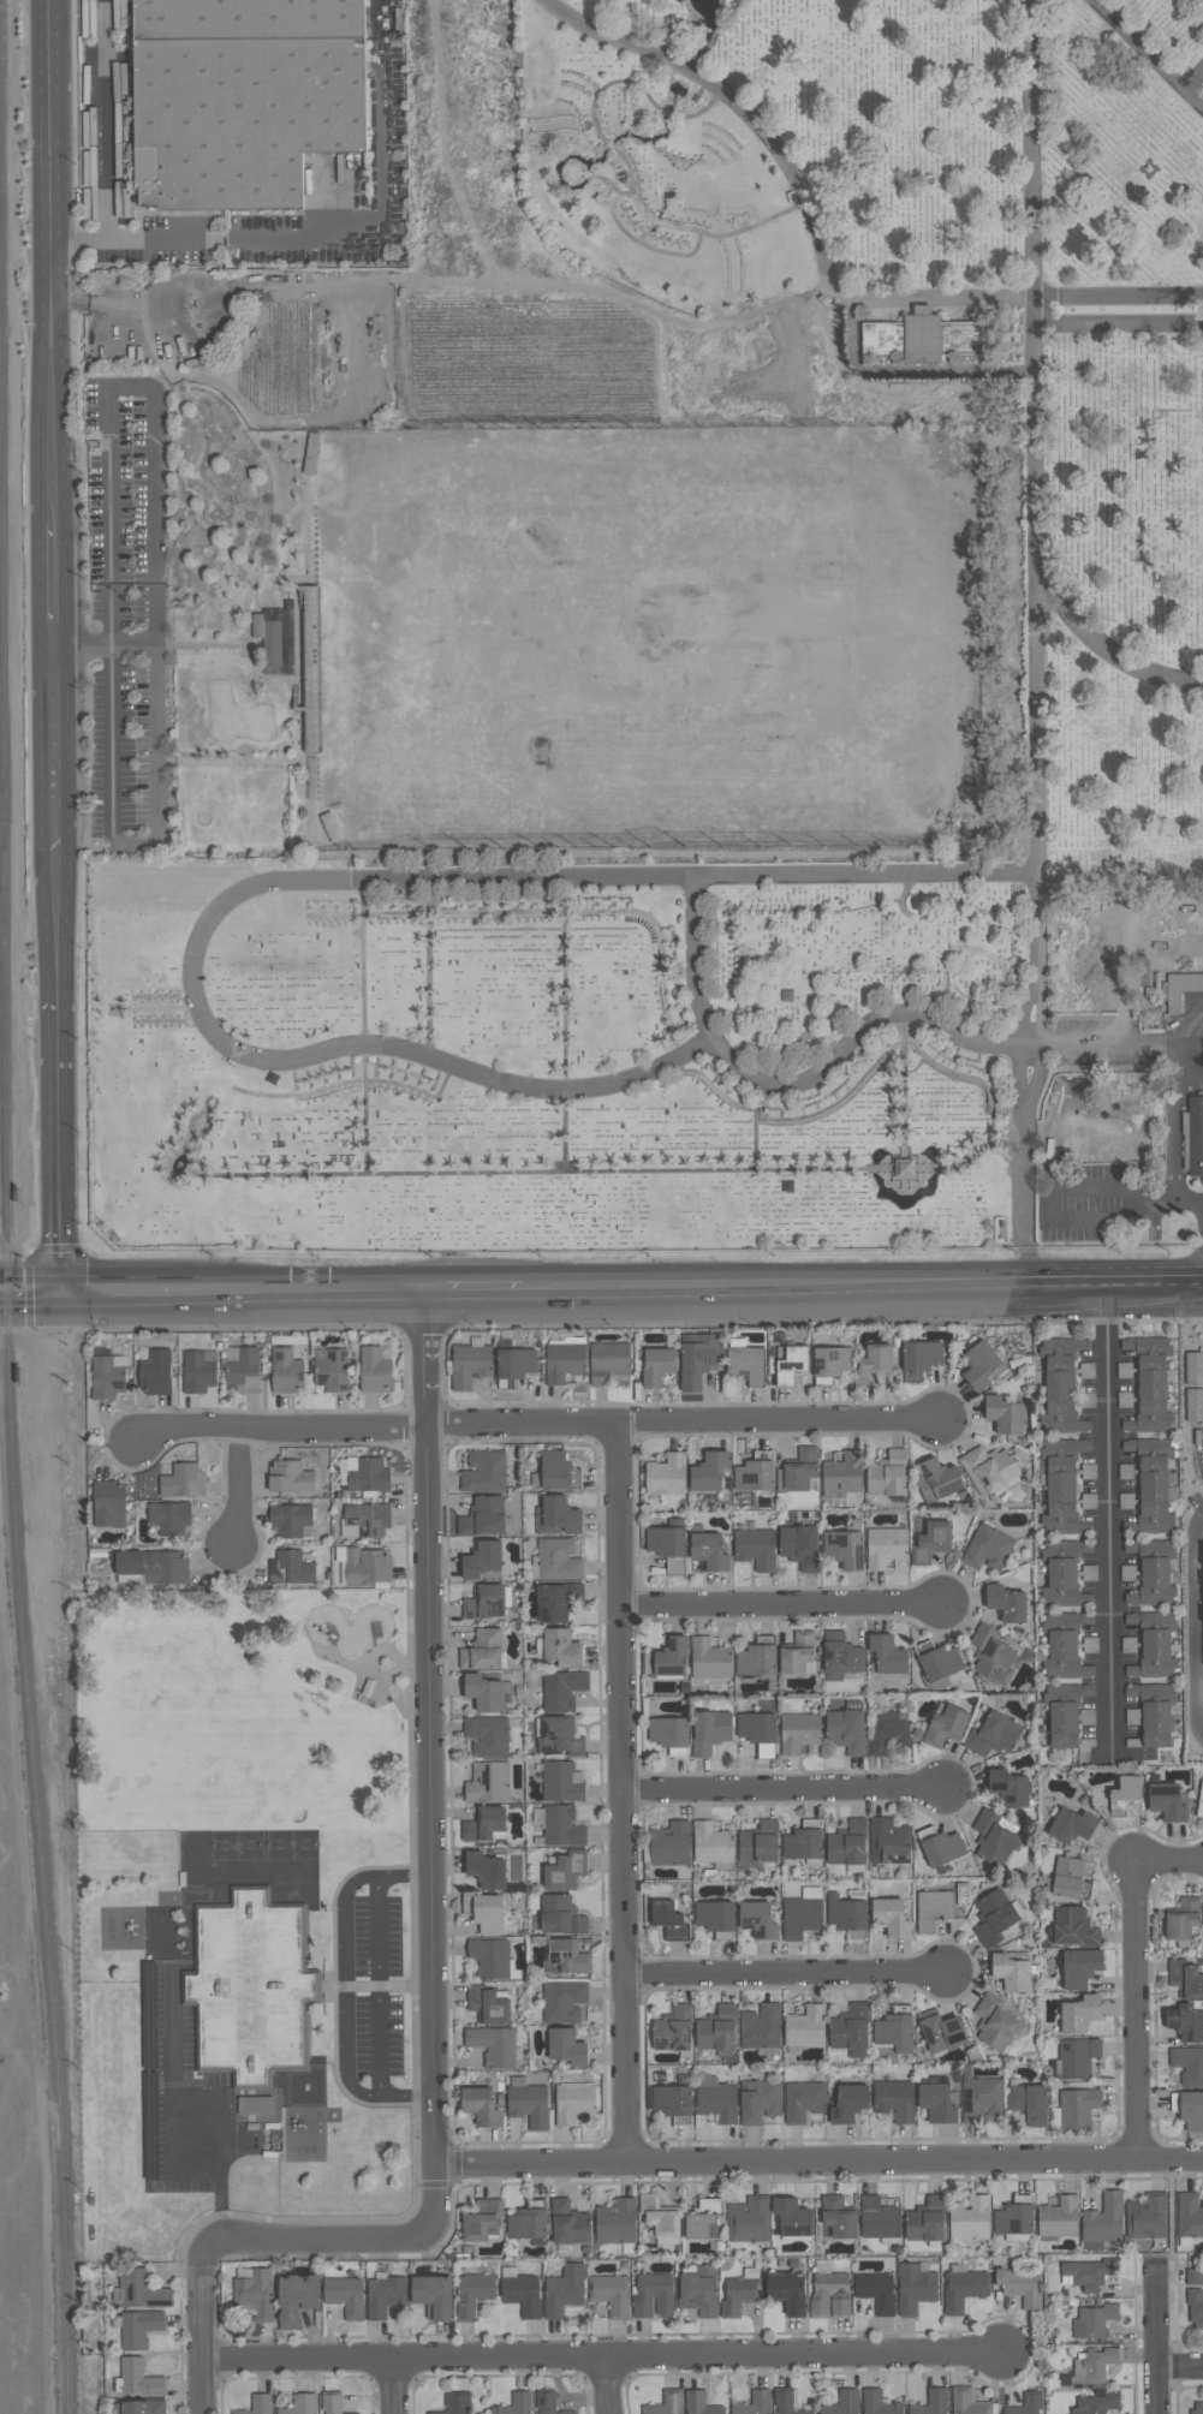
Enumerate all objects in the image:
road: (1145, 54)
road: (1193, 81)
building: (243, 99)
road: (737, 106)
road: (107, 144)
road: (1030, 148)
road: (238, 238)
road: (1118, 296)
road: (936, 297)
road: (1032, 311)
road: (1118, 326)
building: (921, 338)
building: (311, 454)
road: (155, 572)
road: (111, 573)
road: (18, 626)
railway: (1, 630)
building: (275, 634)
park: (1109, 640)
road: (52, 644)
road: (1103, 650)
road: (1036, 654)
road: (157, 726)
road: (113, 737)
railway: (2, 799)
road: (290, 881)
building: (1180, 989)
road: (1185, 1021)
road: (1187, 1045)
road: (1031, 1047)
road: (1107, 1047)
road: (1020, 1057)
road: (1040, 1059)
road: (792, 1085)
road: (1173, 1134)
building: (1193, 1137)
building: (904, 1168)
road: (1025, 1188)
road: (1025, 1262)
road: (31, 1276)
road: (862, 1285)
road: (474, 1288)
road: (243, 1289)
road: (31, 1304)
building: (921, 1357)
building: (565, 1360)
building: (698, 1360)
building: (608, 1363)
building: (833, 1363)
building: (470, 1364)
building: (516, 1364)
building: (746, 1364)
building: (790, 1364)
building: (874, 1365)
building: (655, 1366)
building: (982, 1366)
building: (243, 1369)
building: (375, 1369)
building: (1124, 1370)
building: (198, 1371)
building: (333, 1371)
building: (286, 1372)
building: (156, 1373)
building: (107, 1376)
building: (1149, 1385)
building: (1060, 1388)
building: (1124, 1400)
building: (1004, 1415)
road: (536, 1421)
building: (802, 1470)
building: (988, 1470)
building: (484, 1472)
building: (708, 1472)
building: (555, 1473)
building: (755, 1473)
building: (842, 1473)
building: (363, 1474)
building: (887, 1474)
building: (666, 1476)
building: (290, 1477)
building: (937, 1480)
building: (183, 1482)
building: (1151, 1485)
building: (1060, 1486)
road: (238, 1488)
building: (108, 1504)
road: (1107, 1514)
building: (169, 1518)
building: (483, 1518)
building: (556, 1518)
building: (291, 1521)
building: (666, 1542)
building: (931, 1543)
building: (799, 1546)
building: (885, 1548)
building: (987, 1548)
building: (756, 1549)
building: (845, 1549)
building: (709, 1551)
building: (555, 1560)
building: (483, 1561)
building: (153, 1566)
building: (294, 1567)
building: (367, 1567)
building: (1064, 1573)
building: (1127, 1573)
building: (1153, 1573)
building: (1089, 1575)
building: (556, 1601)
building: (484, 1602)
road: (785, 1603)
building: (1006, 1604)
railway: (24, 1620)
road: (1192, 1622)
building: (487, 1638)
building: (1090, 1645)
building: (1128, 1645)
building: (1153, 1645)
building: (1065, 1646)
building: (561, 1647)
building: (797, 1653)
building: (990, 1655)
building: (841, 1656)
building: (887, 1656)
building: (478, 1658)
building: (671, 1658)
building: (709, 1659)
building: (757, 1659)
building: (562, 1689)
building: (1131, 1691)
building: (486, 1693)
park: (246, 1713)
building: (1066, 1713)
building: (1156, 1715)
building: (945, 1727)
building: (756, 1728)
building: (886, 1730)
building: (710, 1731)
building: (846, 1731)
building: (798, 1733)
building: (669, 1735)
building: (994, 1735)
building: (487, 1736)
building: (558, 1736)
road: (427, 1760)
building: (561, 1782)
building: (488, 1783)
building: (1008, 1788)
road: (782, 1789)
road: (623, 1793)
building: (1126, 1798)
building: (1199, 1800)
building: (1166, 1801)
building: (484, 1825)
building: (1071, 1826)
building: (560, 1828)
building: (993, 1838)
building: (758, 1843)
building: (802, 1843)
building: (888, 1843)
building: (710, 1844)
building: (846, 1844)
building: (668, 1846)
building: (939, 1847)
road: (1168, 1861)
building: (484, 1871)
building: (564, 1871)
road: (401, 1878)
building: (1067, 1880)
building: (961, 1895)
building: (931, 1909)
building: (487, 1915)
building: (559, 1917)
building: (846, 1917)
building: (799, 1918)
building: (889, 1918)
building: (993, 1918)
building: (714, 1919)
building: (1183, 1920)
building: (757, 1921)
building: (668, 1923)
building: (1073, 1927)
building: (566, 1957)
building: (489, 1959)
building: (1079, 1968)
building: (1011, 1972)
road: (782, 1973)
road: (347, 1975)
building: (1185, 1979)
road: (377, 1987)
building: (249, 1989)
building: (561, 2002)
building: (486, 2005)
road: (1134, 2010)
building: (1078, 2015)
building: (994, 2023)
building: (1185, 2023)
building: (760, 2028)
building: (804, 2028)
building: (672, 2031)
building: (894, 2031)
building: (716, 2032)
building: (850, 2032)
building: (941, 2034)
building: (493, 2046)
building: (565, 2048)
building: (1077, 2057)
building: (1187, 2066)
road: (367, 2094)
road: (405, 2097)
building: (977, 2097)
building: (893, 2100)
road: (201, 2102)
building: (758, 2102)
building: (802, 2102)
building: (573, 2103)
building: (717, 2103)
building: (526, 2104)
building: (671, 2104)
building: (847, 2104)
building: (936, 2104)
building: (1028, 2104)
building: (255, 2106)
building: (480, 2109)
building: (1076, 2109)
building: (1189, 2110)
road: (816, 2163)
building: (1189, 2216)
building: (791, 2218)
building: (838, 2218)
building: (1013, 2218)
building: (1145, 2218)
building: (659, 2219)
building: (877, 2219)
building: (969, 2219)
building: (1058, 2219)
building: (702, 2221)
building: (748, 2221)
building: (481, 2222)
building: (924, 2222)
building: (528, 2223)
building: (614, 2223)
building: (1101, 2223)
building: (567, 2224)
road: (317, 2234)
road: (204, 2257)
building: (822, 2266)
building: (1089, 2273)
building: (1193, 2277)
building: (1019, 2287)
building: (963, 2288)
building: (913, 2289)
building: (141, 2290)
building: (562, 2290)
building: (876, 2290)
building: (698, 2291)
building: (787, 2291)
building: (609, 2293)
building: (740, 2293)
building: (255, 2294)
building: (472, 2294)
building: (522, 2294)
building: (385, 2295)
building: (433, 2295)
building: (651, 2295)
building: (829, 2295)
building: (346, 2296)
building: (296, 2299)
building: (1195, 2308)
building: (1096, 2319)
building: (138, 2329)
road: (1156, 2342)
road: (203, 2346)
road: (591, 2359)
building: (1092, 2367)
road: (1180, 2367)
building: (138, 2378)
road: (606, 2386)
road: (391, 2388)
building: (785, 2402)
building: (930, 2402)
building: (966, 2402)
building: (330, 2403)
building: (455, 2403)
building: (548, 2403)
building: (698, 2403)
building: (754, 2403)
building: (842, 2403)
building: (877, 2403)
building: (258, 2404)
building: (302, 2404)
building: (514, 2404)
building: (665, 2404)
building: (1026, 2404)
building: (1096, 2404)
building: (143, 2407)
building: (1197, 2408)
building: (355, 2413)

